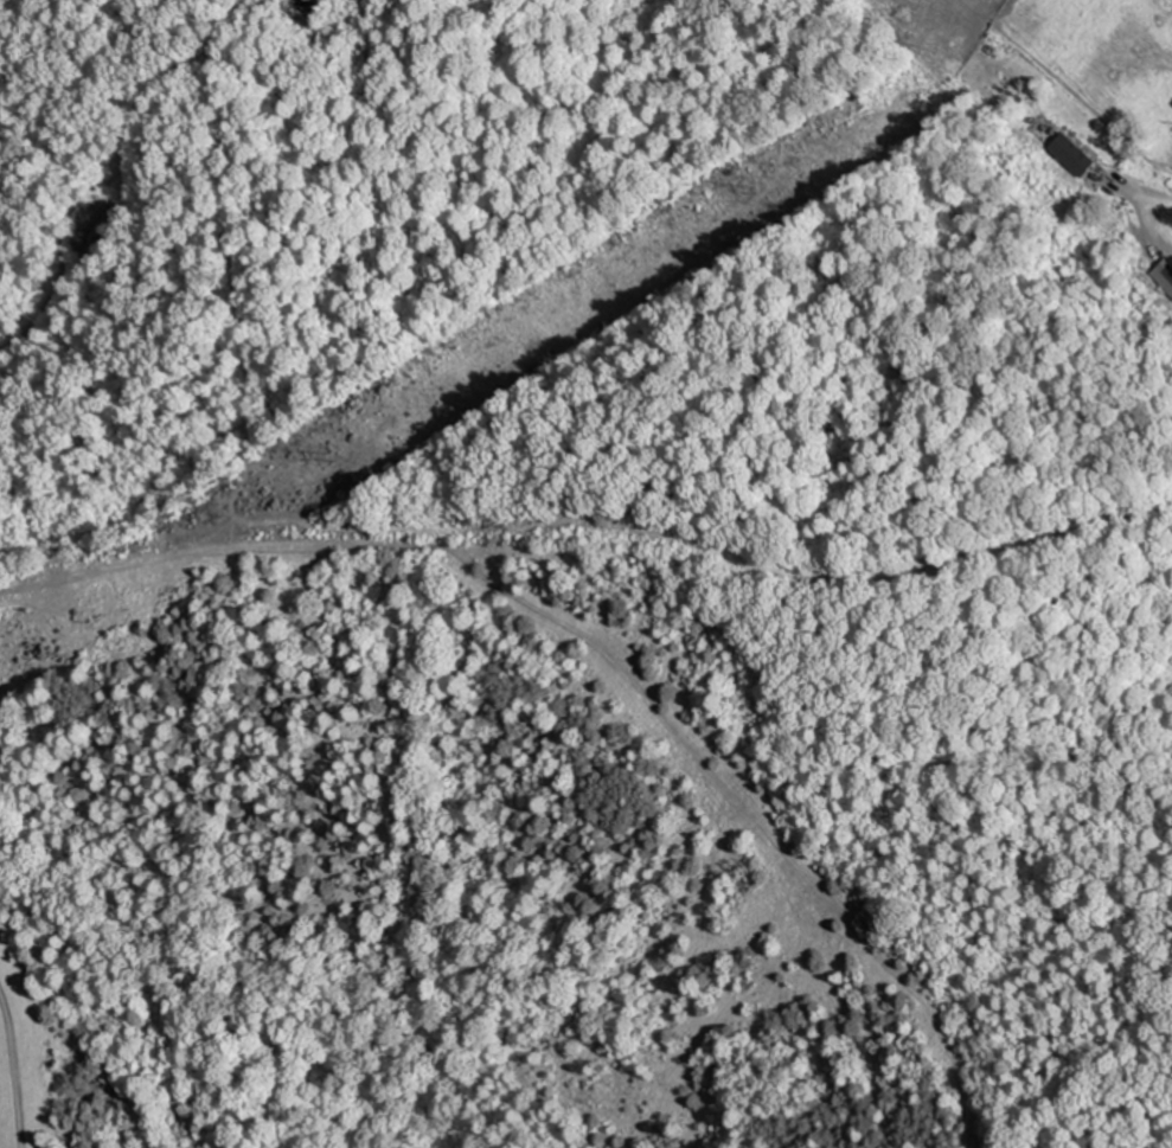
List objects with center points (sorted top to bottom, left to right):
building: (1063, 143)
road: (955, 355)

